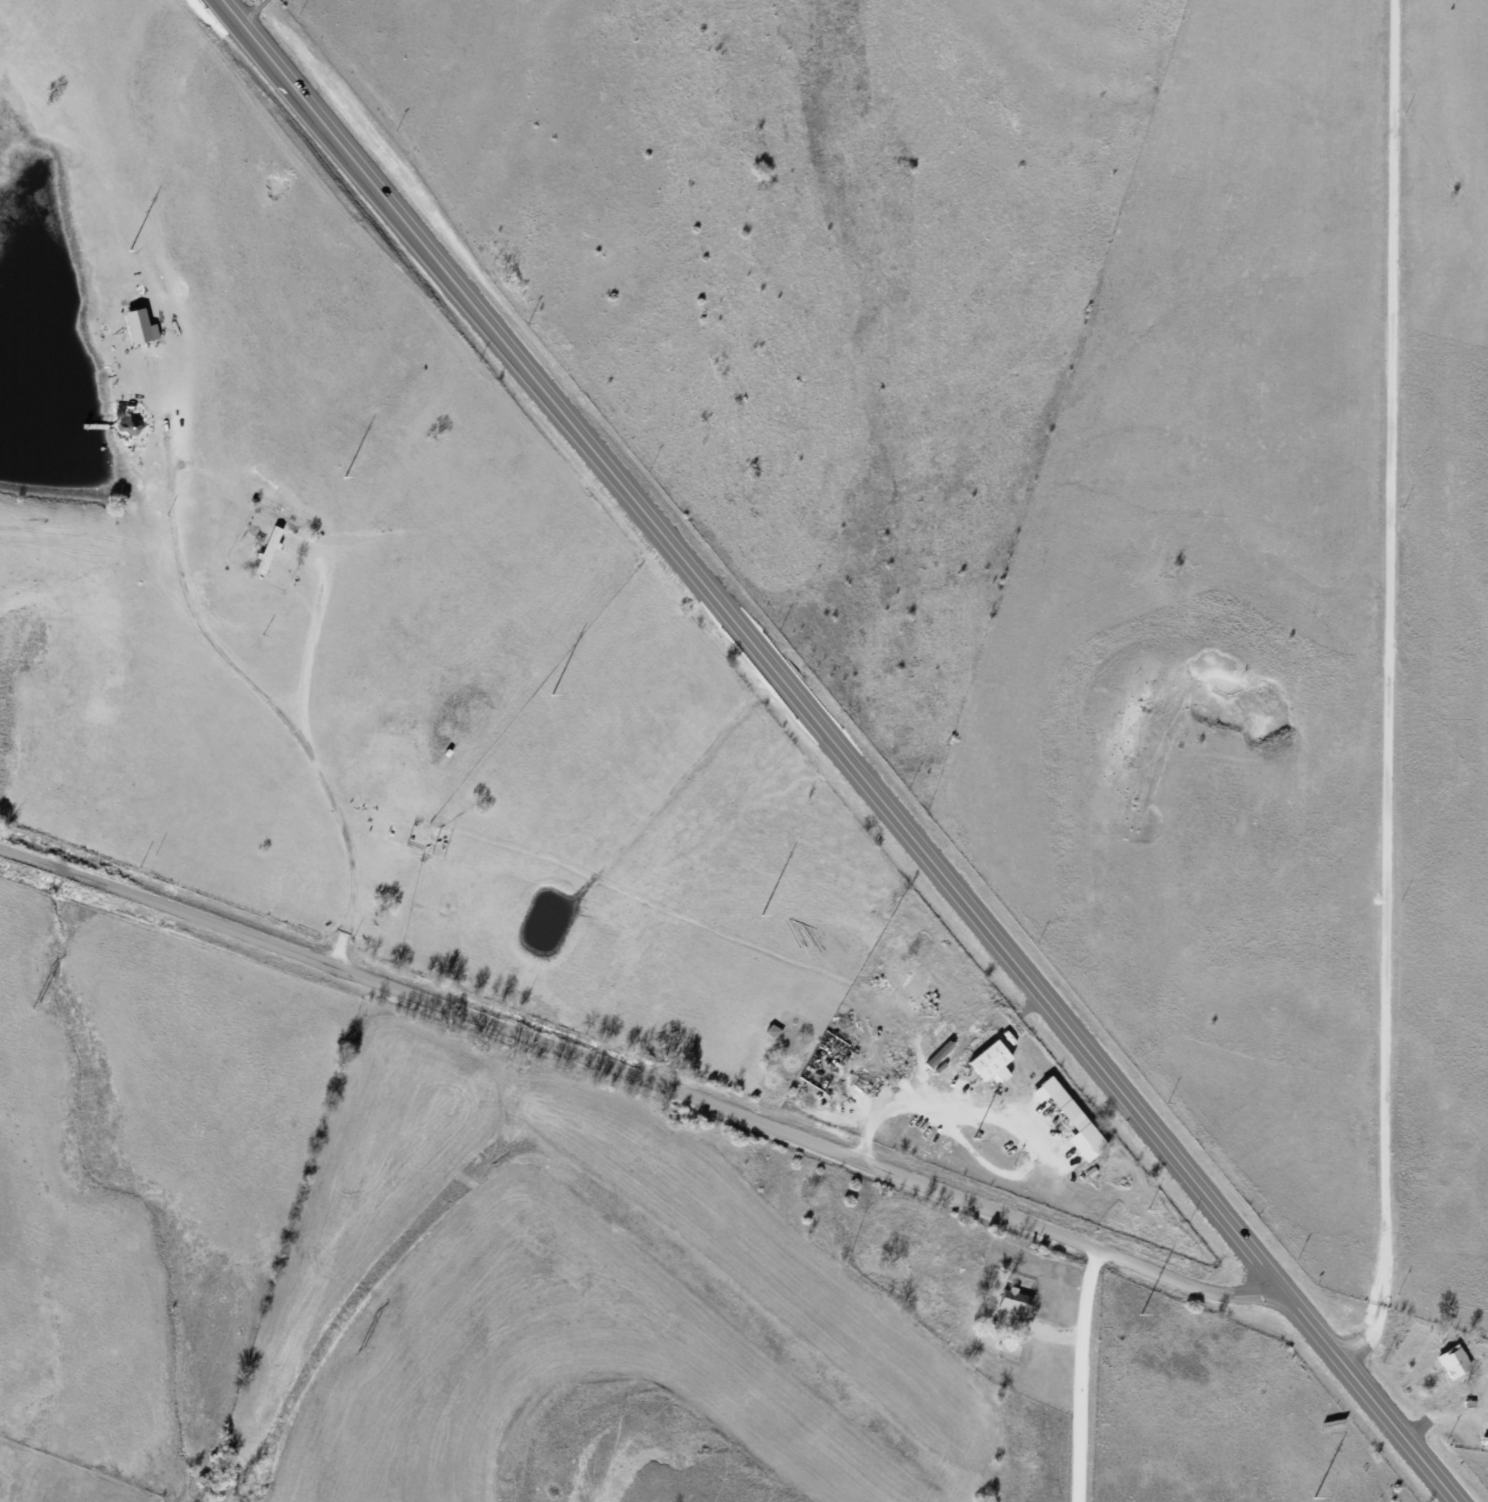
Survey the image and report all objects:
power tower: (129, 250)
power tower: (344, 477)
building: (270, 548)
road: (1386, 687)
power tower: (551, 694)
road: (846, 750)
power tower: (761, 915)
power tower: (35, 1005)
building: (991, 1061)
road: (683, 1104)
building: (1073, 1114)
power tower: (973, 1138)
building: (1092, 1184)
building: (1015, 1300)
power tower: (1141, 1314)
power tower: (360, 1350)
building: (1455, 1361)
road: (950, 1368)
road: (1120, 1384)
building: (1485, 1441)
power tower: (1314, 1497)

